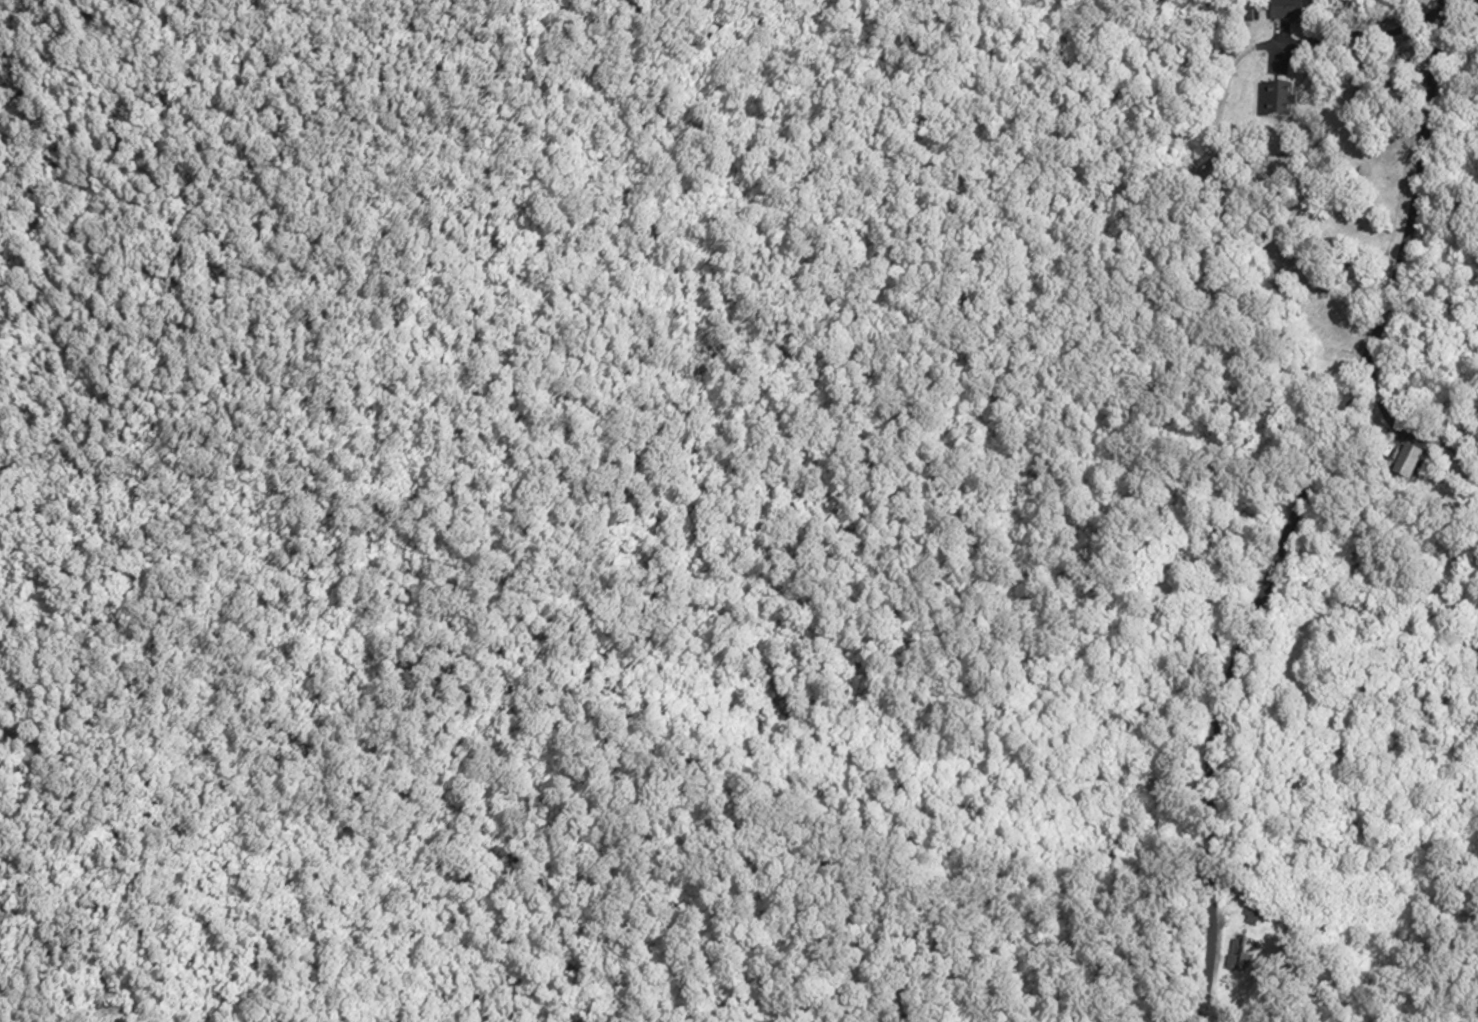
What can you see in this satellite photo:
building: (1477, 7)
building: (1286, 10)
building: (1477, 17)
road: (1453, 18)
road: (1348, 33)
building: (1276, 100)
building: (1190, 184)
road: (1382, 411)
building: (1406, 459)
road: (1299, 508)
building: (1251, 913)
building: (1237, 953)

